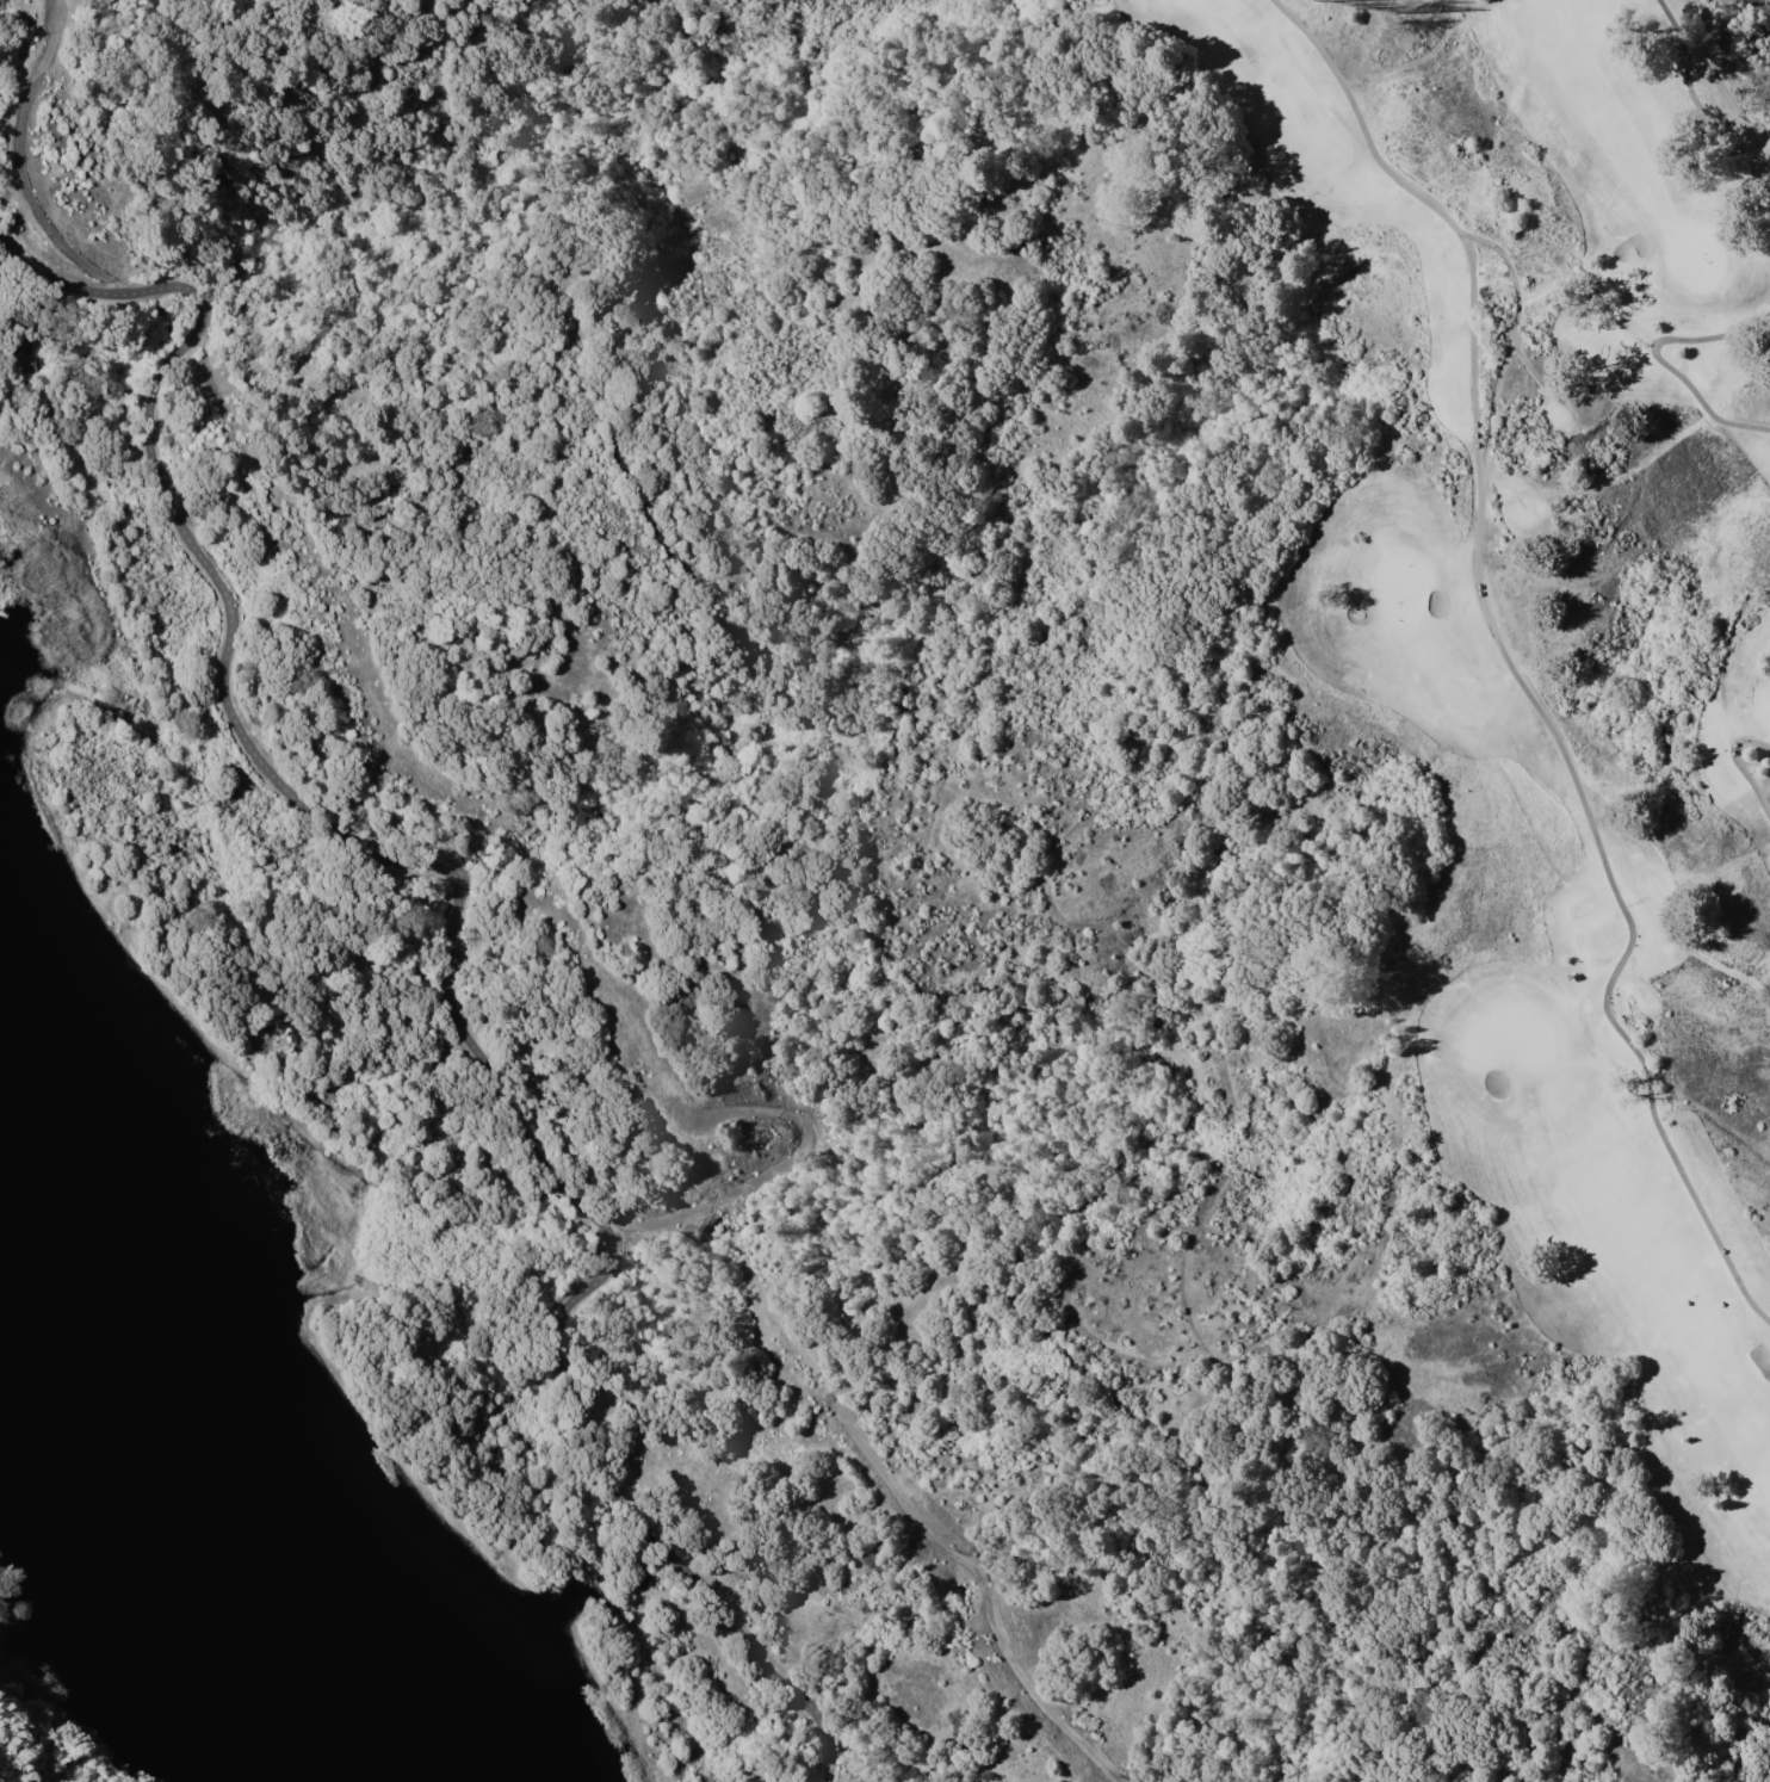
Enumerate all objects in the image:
road: (1764, 10)
power tower: (1721, 33)
road: (1698, 105)
road: (17, 165)
park: (1692, 253)
road: (1658, 359)
park: (1403, 586)
park: (1572, 652)
road: (1509, 661)
road: (1739, 763)
road: (458, 921)
park: (1510, 1035)
road: (770, 1170)
road: (982, 1585)

